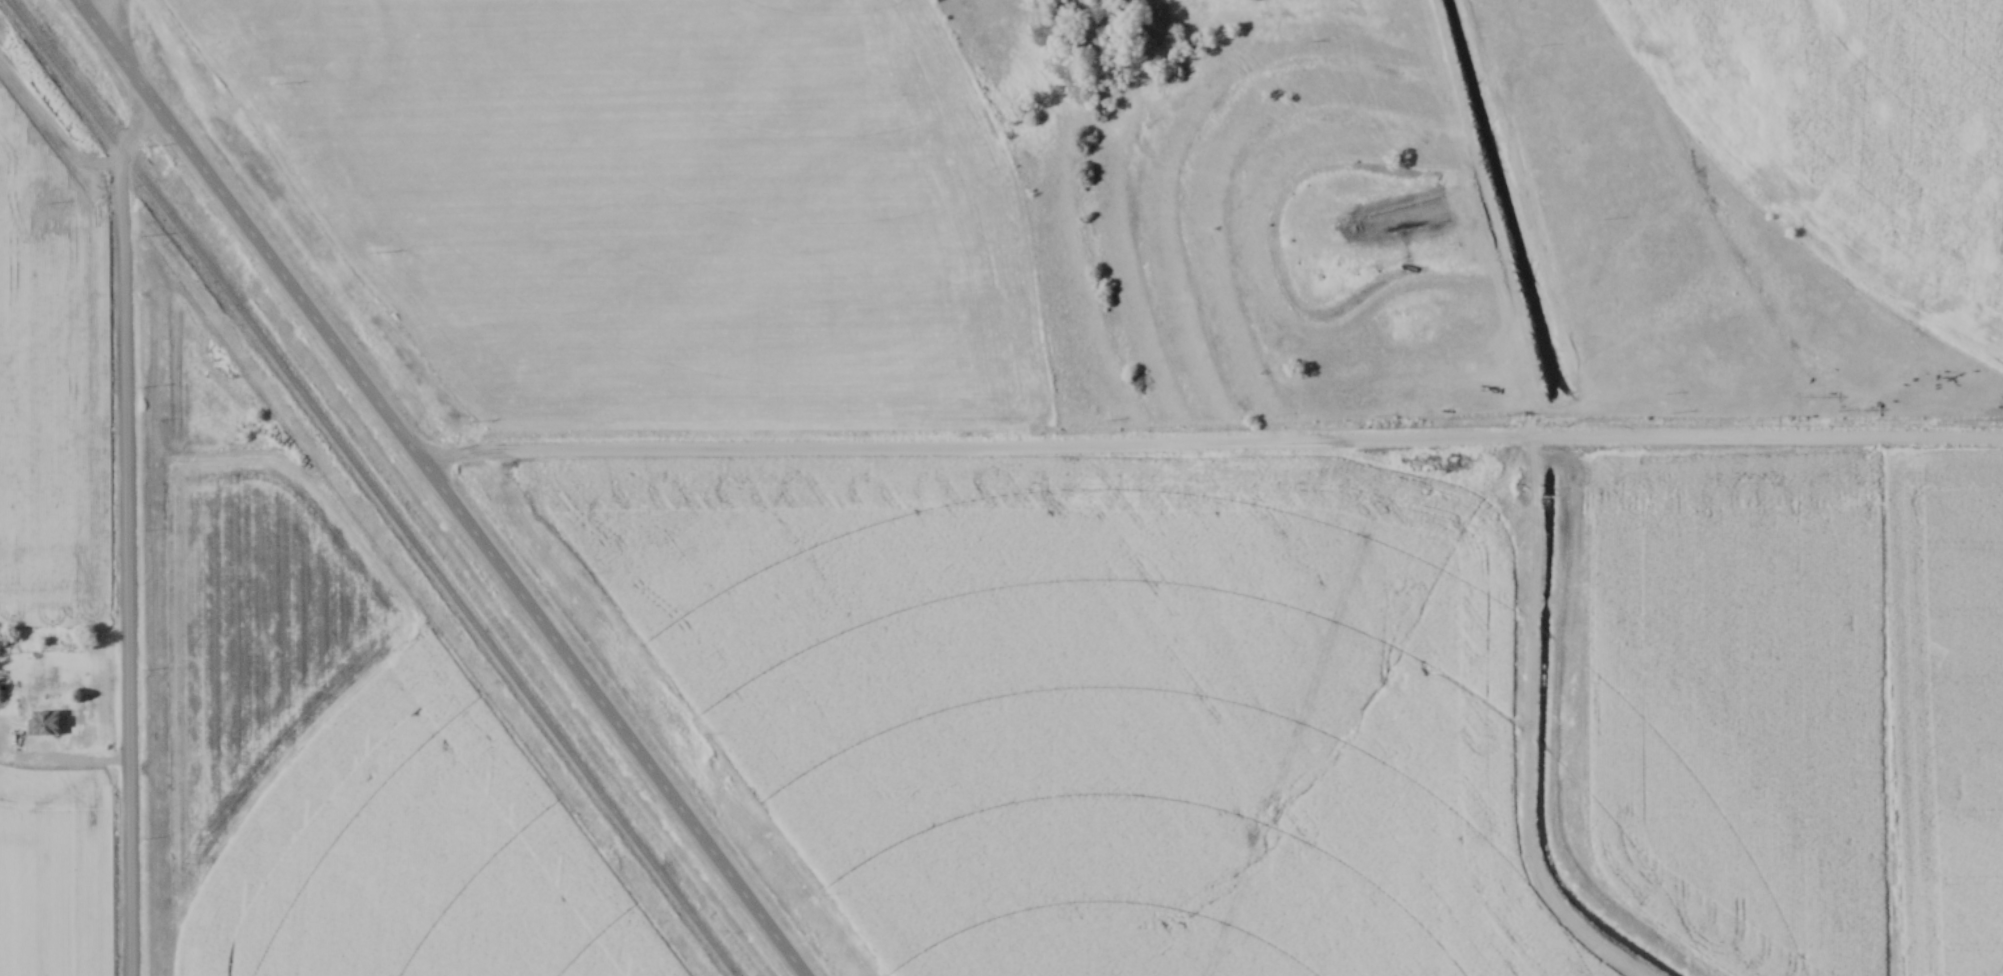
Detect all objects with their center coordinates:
road: (122, 28)
road: (1214, 446)
railway: (375, 487)
road: (445, 487)
road: (123, 535)
building: (45, 724)
road: (65, 761)

